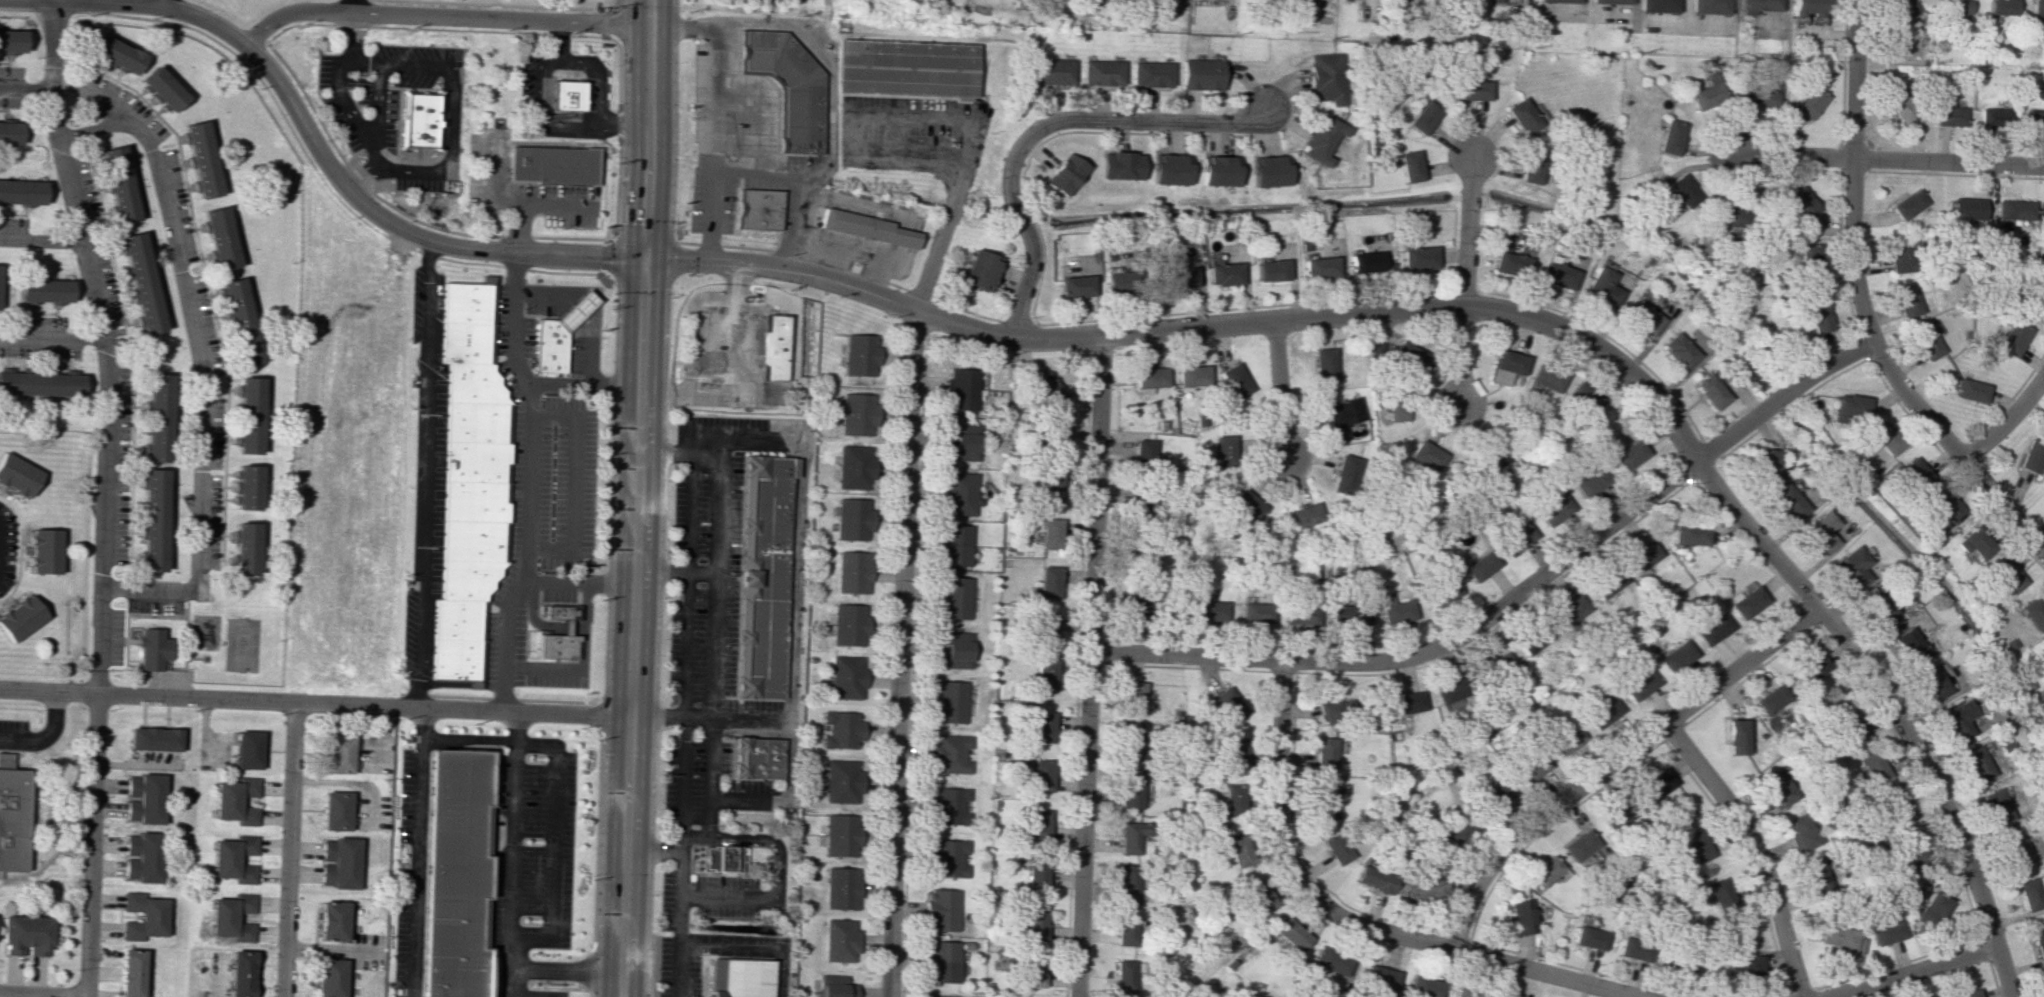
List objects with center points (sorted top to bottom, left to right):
building: (1500, 1)
building: (1558, 1)
building: (1608, 1)
road: (168, 3)
building: (1655, 5)
building: (1756, 5)
road: (351, 6)
building: (1707, 6)
building: (1806, 8)
building: (1955, 8)
building: (2000, 8)
building: (1902, 11)
building: (2037, 13)
road: (440, 16)
road: (556, 40)
building: (11, 41)
building: (755, 48)
building: (115, 53)
building: (787, 63)
road: (536, 65)
building: (903, 67)
building: (1052, 71)
building: (1101, 72)
building: (1151, 74)
building: (1201, 74)
building: (1327, 78)
road: (825, 85)
road: (26, 88)
building: (161, 89)
building: (1472, 90)
building: (566, 94)
building: (1707, 94)
road: (904, 96)
building: (1759, 96)
building: (1810, 102)
road: (376, 103)
building: (1900, 105)
road: (753, 113)
building: (1523, 114)
building: (797, 115)
building: (1948, 116)
road: (935, 117)
building: (1423, 117)
building: (1993, 117)
building: (418, 120)
building: (2034, 120)
road: (626, 122)
road: (1041, 127)
building: (9, 132)
parking lot: (903, 132)
building: (1670, 137)
building: (1322, 139)
parking lot: (731, 141)
road: (712, 145)
road: (1793, 154)
building: (200, 159)
road: (1948, 161)
building: (552, 165)
building: (1120, 165)
building: (1409, 166)
building: (1531, 167)
road: (750, 168)
building: (1169, 169)
building: (1219, 171)
building: (1269, 171)
road: (1852, 172)
road: (432, 173)
road: (335, 174)
building: (1064, 174)
building: (118, 184)
building: (1683, 190)
building: (21, 192)
building: (1799, 202)
building: (1907, 205)
building: (759, 208)
building: (1965, 209)
building: (2014, 209)
building: (2041, 210)
building: (861, 228)
road: (1466, 229)
building: (219, 238)
road: (40, 240)
building: (1897, 256)
building: (1418, 258)
traffic signals: (646, 259)
building: (1808, 260)
building: (1365, 262)
building: (1510, 263)
building: (1318, 267)
building: (979, 270)
building: (1270, 270)
building: (1223, 274)
building: (1557, 275)
building: (1179, 277)
building: (1118, 281)
building: (141, 282)
building: (1075, 286)
building: (1600, 287)
building: (44, 290)
road: (545, 294)
building: (1907, 299)
building: (468, 302)
road: (581, 308)
building: (579, 310)
gas station: (579, 310)
road: (1509, 311)
building: (1818, 316)
building: (1642, 317)
building: (239, 321)
road: (49, 338)
building: (2012, 338)
building: (467, 342)
building: (1927, 342)
road: (101, 345)
building: (553, 347)
building: (771, 347)
building: (1377, 347)
road: (590, 350)
building: (1677, 350)
building: (1408, 355)
road: (1463, 356)
road: (198, 361)
building: (1324, 365)
building: (1507, 366)
road: (522, 373)
road: (733, 373)
building: (1192, 375)
building: (1150, 377)
building: (1235, 380)
building: (1545, 380)
building: (40, 384)
building: (476, 384)
building: (961, 389)
building: (1048, 389)
road: (1281, 389)
building: (1970, 390)
building: (1710, 391)
building: (1583, 399)
building: (1850, 405)
building: (1398, 408)
building: (1343, 413)
building: (857, 414)
building: (248, 415)
building: (157, 418)
road: (2007, 421)
building: (477, 422)
building: (1054, 437)
building: (1884, 437)
building: (961, 442)
road: (1953, 450)
building: (1221, 451)
building: (1427, 455)
building: (1629, 455)
building: (2031, 455)
building: (1492, 458)
building: (477, 461)
building: (1767, 465)
building: (853, 466)
road: (426, 473)
building: (1915, 473)
road: (720, 474)
building: (1344, 474)
building: (18, 475)
building: (1590, 480)
road: (574, 481)
building: (245, 487)
building: (1051, 487)
building: (958, 494)
road: (639, 498)
building: (476, 501)
building: (2043, 501)
building: (1787, 503)
building: (1247, 505)
building: (764, 506)
building: (1946, 507)
building: (1140, 509)
building: (1555, 510)
building: (1304, 515)
building: (852, 518)
building: (152, 520)
building: (1820, 532)
building: (1050, 533)
building: (1690, 534)
building: (1517, 537)
building: (474, 541)
building: (1974, 544)
building: (953, 545)
building: (243, 549)
road: (528, 549)
building: (44, 551)
building: (1642, 556)
parking lot: (702, 564)
building: (1480, 566)
building: (1851, 568)
building: (852, 572)
building: (2006, 576)
building: (762, 577)
building: (470, 579)
building: (1048, 582)
building: (1610, 582)
road: (577, 583)
road: (686, 587)
building: (1443, 591)
building: (953, 597)
road: (1513, 597)
building: (1747, 602)
building: (1136, 606)
parking lot: (155, 607)
building: (1877, 607)
building: (1395, 610)
building: (561, 611)
building: (1209, 611)
building: (1571, 611)
building: (761, 613)
building: (1255, 613)
building: (2032, 614)
road: (532, 615)
building: (1358, 615)
building: (20, 617)
building: (458, 619)
building: (849, 624)
road: (566, 627)
road: (578, 628)
building: (1712, 628)
building: (1047, 629)
road: (131, 630)
road: (127, 631)
parking lot: (116, 638)
building: (1532, 638)
road: (132, 643)
park: (190, 644)
building: (2043, 644)
park: (241, 645)
road: (898, 645)
building: (1908, 645)
road: (186, 647)
building: (558, 648)
road: (716, 648)
building: (153, 649)
building: (953, 649)
building: (1675, 656)
road: (196, 658)
building: (457, 659)
building: (759, 662)
road: (583, 663)
building: (1500, 664)
road: (1088, 665)
building: (1812, 667)
building: (1044, 674)
building: (846, 677)
parking lot: (169, 680)
building: (1932, 681)
building: (1639, 684)
road: (49, 693)
building: (1449, 695)
building: (1133, 697)
road: (187, 698)
building: (1770, 699)
building: (948, 701)
building: (1406, 702)
building: (1227, 705)
road: (454, 710)
building: (1334, 710)
building: (1602, 712)
building: (1993, 716)
building: (1958, 719)
building: (1041, 727)
road: (683, 728)
road: (707, 729)
building: (842, 729)
building: (1851, 729)
road: (42, 736)
building: (1735, 737)
building: (153, 739)
building: (1566, 739)
road: (483, 741)
building: (1133, 746)
building: (246, 749)
building: (337, 753)
building: (949, 753)
building: (1232, 753)
building: (1324, 753)
building: (752, 760)
road: (1611, 761)
building: (1976, 763)
building: (1529, 767)
building: (1875, 767)
building: (1040, 775)
building: (842, 781)
building: (1656, 784)
building: (1777, 788)
road: (679, 790)
building: (1129, 792)
road: (733, 795)
building: (1493, 795)
building: (144, 798)
building: (1232, 799)
building: (235, 800)
building: (1324, 800)
building: (949, 805)
building: (1997, 806)
building: (1896, 809)
building: (335, 811)
building: (12, 815)
building: (1037, 825)
road: (691, 830)
building: (1800, 832)
building: (1449, 833)
road: (764, 835)
building: (840, 835)
road: (552, 838)
building: (1128, 838)
building: (1577, 845)
road: (91, 846)
building: (1697, 846)
building: (1335, 848)
road: (1754, 848)
building: (2013, 848)
road: (288, 849)
building: (1236, 851)
road: (418, 852)
road: (512, 854)
building: (1907, 855)
building: (141, 857)
building: (947, 857)
building: (233, 858)
building: (720, 858)
building: (338, 862)
building: (1542, 871)
building: (1034, 873)
building: (1815, 874)
building: (458, 875)
building: (1374, 879)
building: (1125, 884)
building: (1423, 887)
building: (840, 888)
building: (2029, 892)
building: (1720, 895)
road: (674, 896)
building: (1259, 897)
building: (939, 909)
building: (1933, 910)
building: (142, 916)
building: (1520, 916)
building: (231, 917)
building: (331, 920)
road: (1349, 920)
building: (1032, 922)
building: (1124, 930)
building: (1886, 932)
building: (1290, 934)
building: (26, 935)
building: (1589, 937)
road: (749, 940)
building: (838, 940)
building: (2038, 942)
building: (1632, 950)
building: (1682, 960)
building: (939, 961)
building: (1329, 961)
building: (1745, 965)
road: (567, 967)
building: (1029, 970)
road: (1914, 972)
building: (129, 973)
building: (239, 973)
building: (1123, 975)
building: (329, 977)
building: (736, 978)
building: (1379, 979)
road: (509, 981)
building: (832, 986)
building: (1422, 987)
road: (884, 988)
building: (1329, 992)
road: (42, 994)
building: (1466, 994)
building: (1967, 994)
building: (931, 996)

